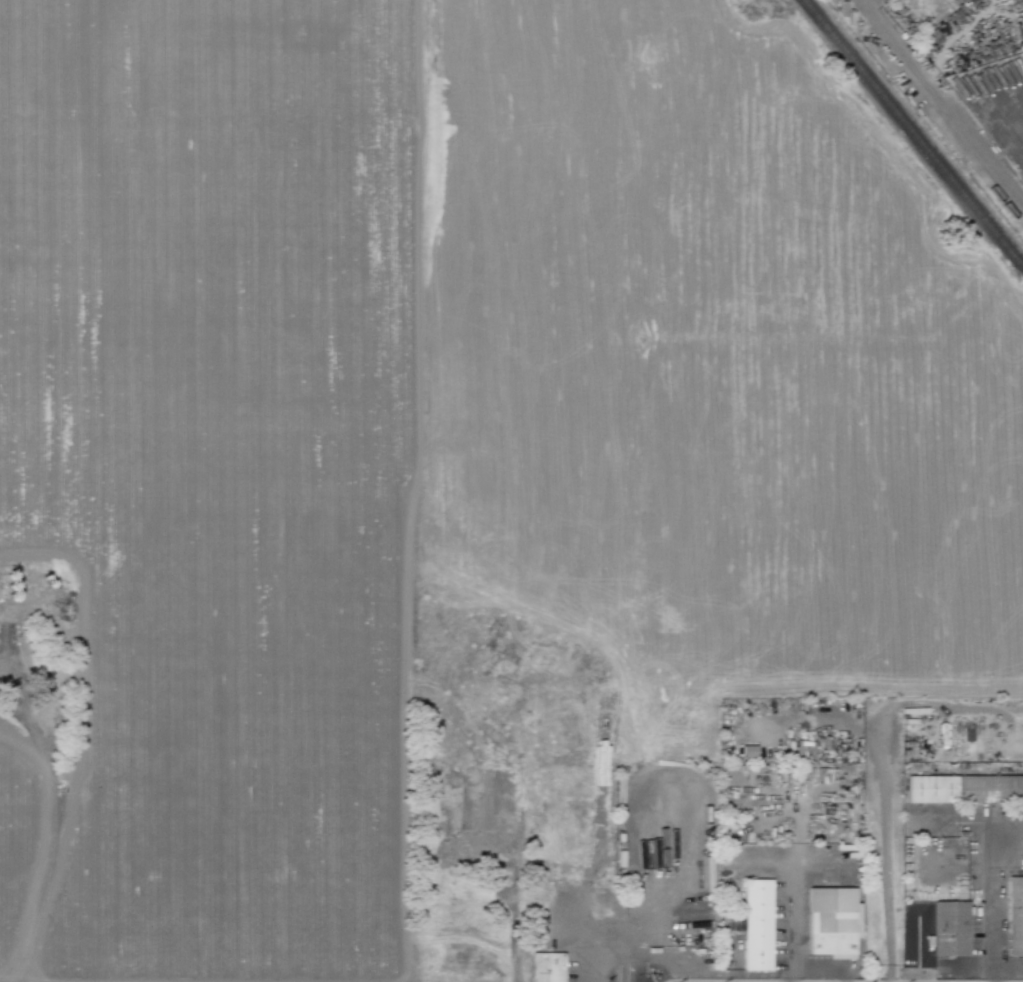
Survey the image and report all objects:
road: (865, 7)
road: (947, 107)
railway: (912, 134)
road: (417, 464)
crop: (216, 466)
road: (17, 683)
road: (9, 707)
building: (964, 788)
crop: (16, 834)
road: (48, 844)
road: (886, 861)
road: (794, 890)
road: (995, 901)
road: (577, 906)
building: (1014, 916)
building: (830, 921)
building: (757, 924)
building: (950, 928)
road: (630, 965)
building: (546, 967)

